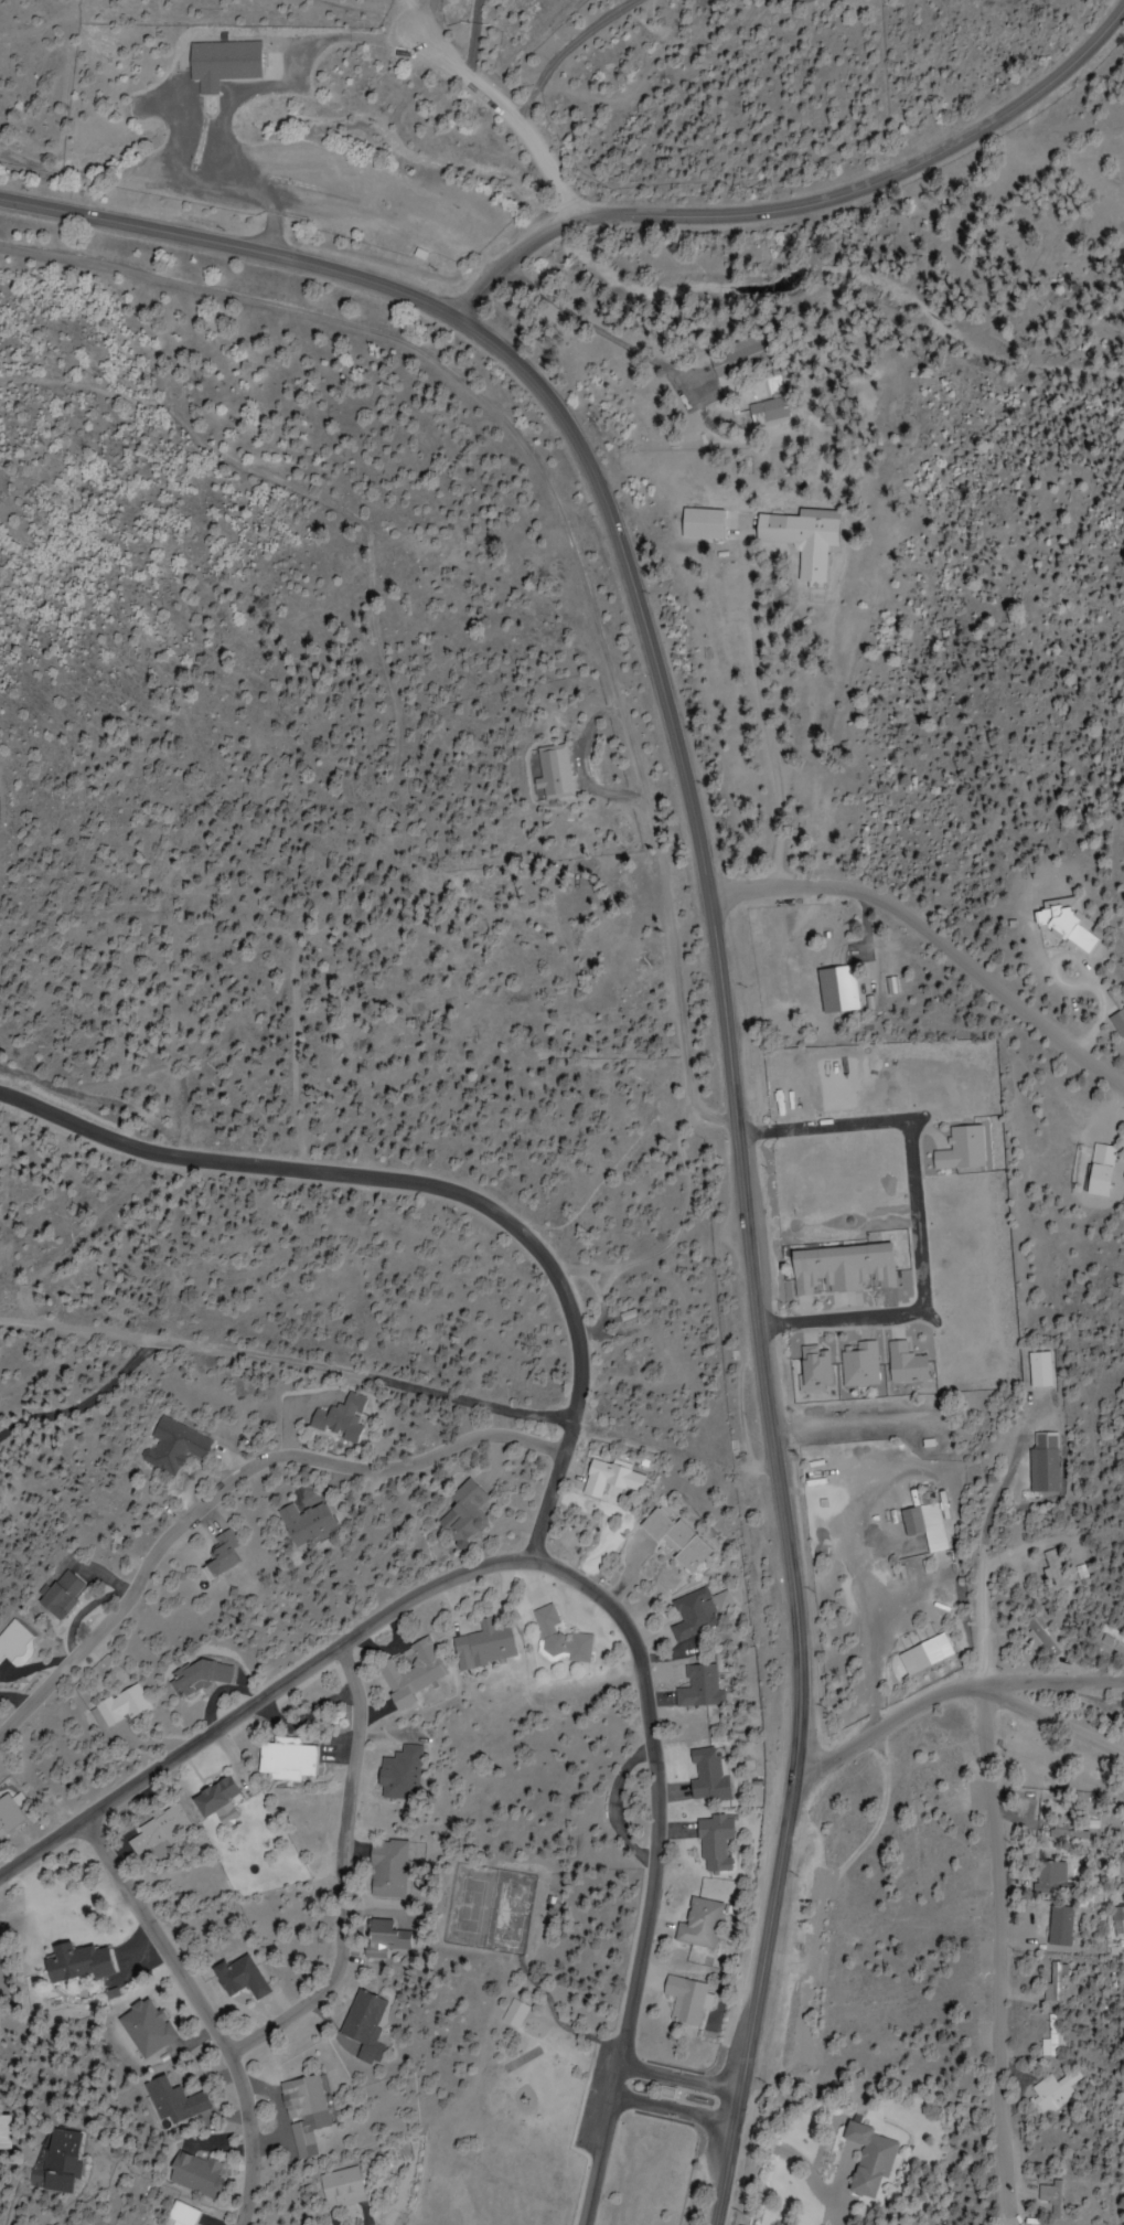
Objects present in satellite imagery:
road: (56, 9)
building: (222, 63)
road: (1032, 66)
road: (782, 192)
building: (737, 356)
building: (767, 411)
building: (700, 524)
building: (799, 541)
building: (1061, 925)
road: (933, 940)
building: (837, 990)
road: (724, 1004)
building: (962, 1150)
building: (1094, 1171)
road: (376, 1179)
building: (842, 1269)
building: (906, 1364)
building: (859, 1365)
building: (813, 1366)
building: (1037, 1370)
building: (338, 1419)
building: (175, 1446)
building: (1041, 1463)
building: (609, 1480)
road: (233, 1482)
road: (549, 1504)
building: (463, 1513)
building: (304, 1524)
building: (925, 1526)
building: (674, 1542)
building: (222, 1555)
building: (1052, 1572)
road: (577, 1582)
building: (57, 1594)
building: (692, 1616)
road: (983, 1627)
building: (1040, 1638)
building: (12, 1642)
building: (560, 1642)
building: (481, 1647)
building: (409, 1674)
building: (197, 1678)
road: (1053, 1685)
building: (698, 1688)
building: (118, 1705)
road: (1053, 1721)
building: (285, 1759)
building: (705, 1776)
building: (213, 1798)
building: (9, 1816)
building: (157, 1832)
road: (991, 1832)
building: (1066, 1834)
building: (713, 1842)
building: (388, 1870)
road: (343, 1874)
building: (1048, 1878)
building: (699, 1924)
building: (383, 1938)
building: (75, 1963)
building: (242, 1978)
building: (685, 2000)
road: (205, 2011)
building: (517, 2012)
building: (364, 2026)
building: (146, 2029)
road: (679, 2080)
building: (1052, 2093)
building: (174, 2102)
road: (673, 2112)
building: (303, 2114)
building: (6, 2132)
building: (867, 2160)
building: (61, 2161)
building: (194, 2173)
building: (341, 2189)
building: (1051, 2199)
building: (180, 2215)

